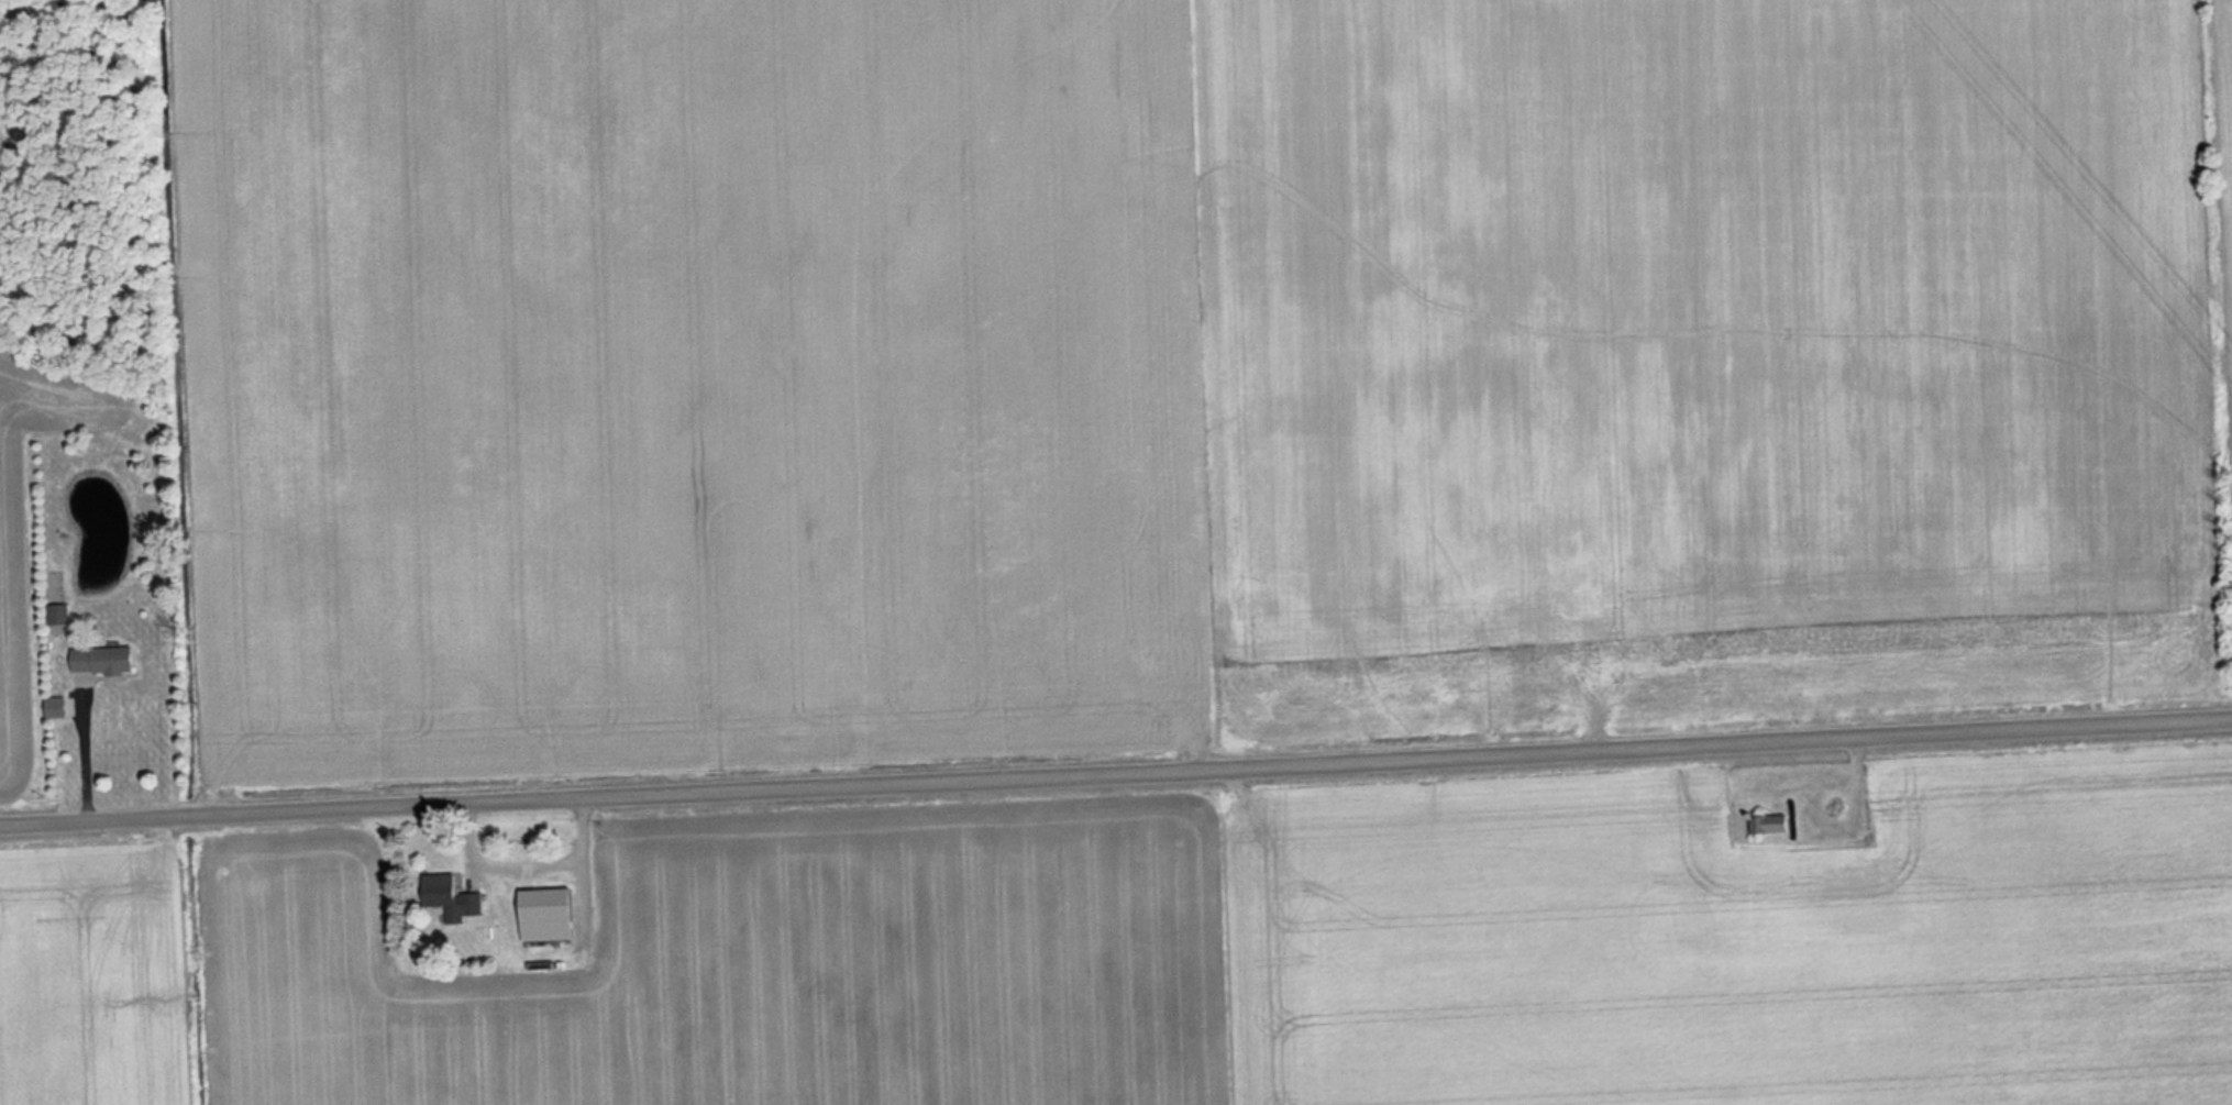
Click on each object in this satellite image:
building: (60, 615)
building: (106, 660)
road: (84, 747)
road: (1116, 773)
building: (1765, 824)
building: (452, 898)
building: (549, 906)

